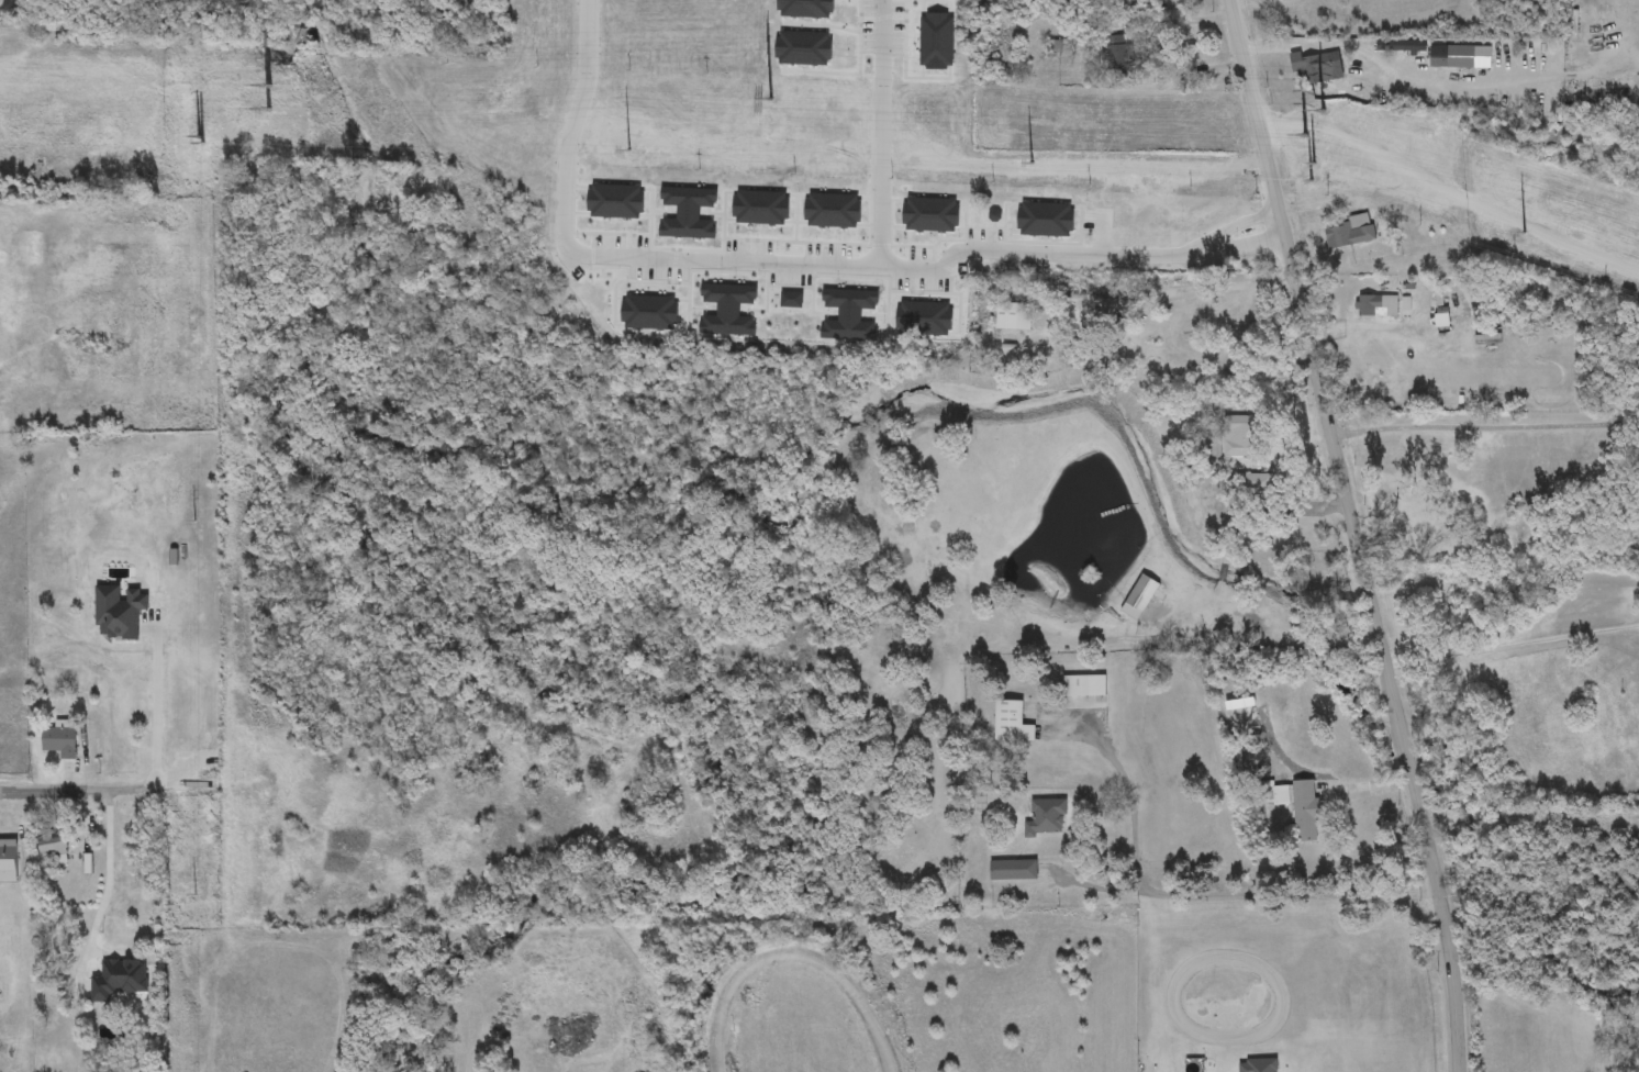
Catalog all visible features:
road: (1347, 45)
road: (1169, 48)
building: (1117, 53)
building: (1451, 57)
building: (1312, 69)
power tower: (232, 103)
power tower: (770, 124)
road: (880, 133)
power tower: (1338, 137)
road: (1451, 190)
building: (807, 223)
road: (1241, 223)
building: (1349, 234)
road: (1247, 245)
road: (1041, 252)
road: (594, 254)
road: (1223, 287)
building: (1058, 291)
building: (1482, 293)
building: (1375, 306)
building: (1014, 317)
road: (1368, 327)
road: (1485, 427)
building: (1240, 436)
building: (1253, 483)
road: (1352, 535)
building: (1139, 598)
road: (1513, 643)
building: (1083, 686)
building: (1011, 722)
building: (59, 742)
road: (156, 761)
road: (42, 791)
building: (1305, 812)
building: (1046, 818)
building: (51, 845)
building: (1013, 871)
road: (1092, 885)
road: (107, 890)
road: (1205, 895)
road: (801, 960)
building: (1258, 1067)

